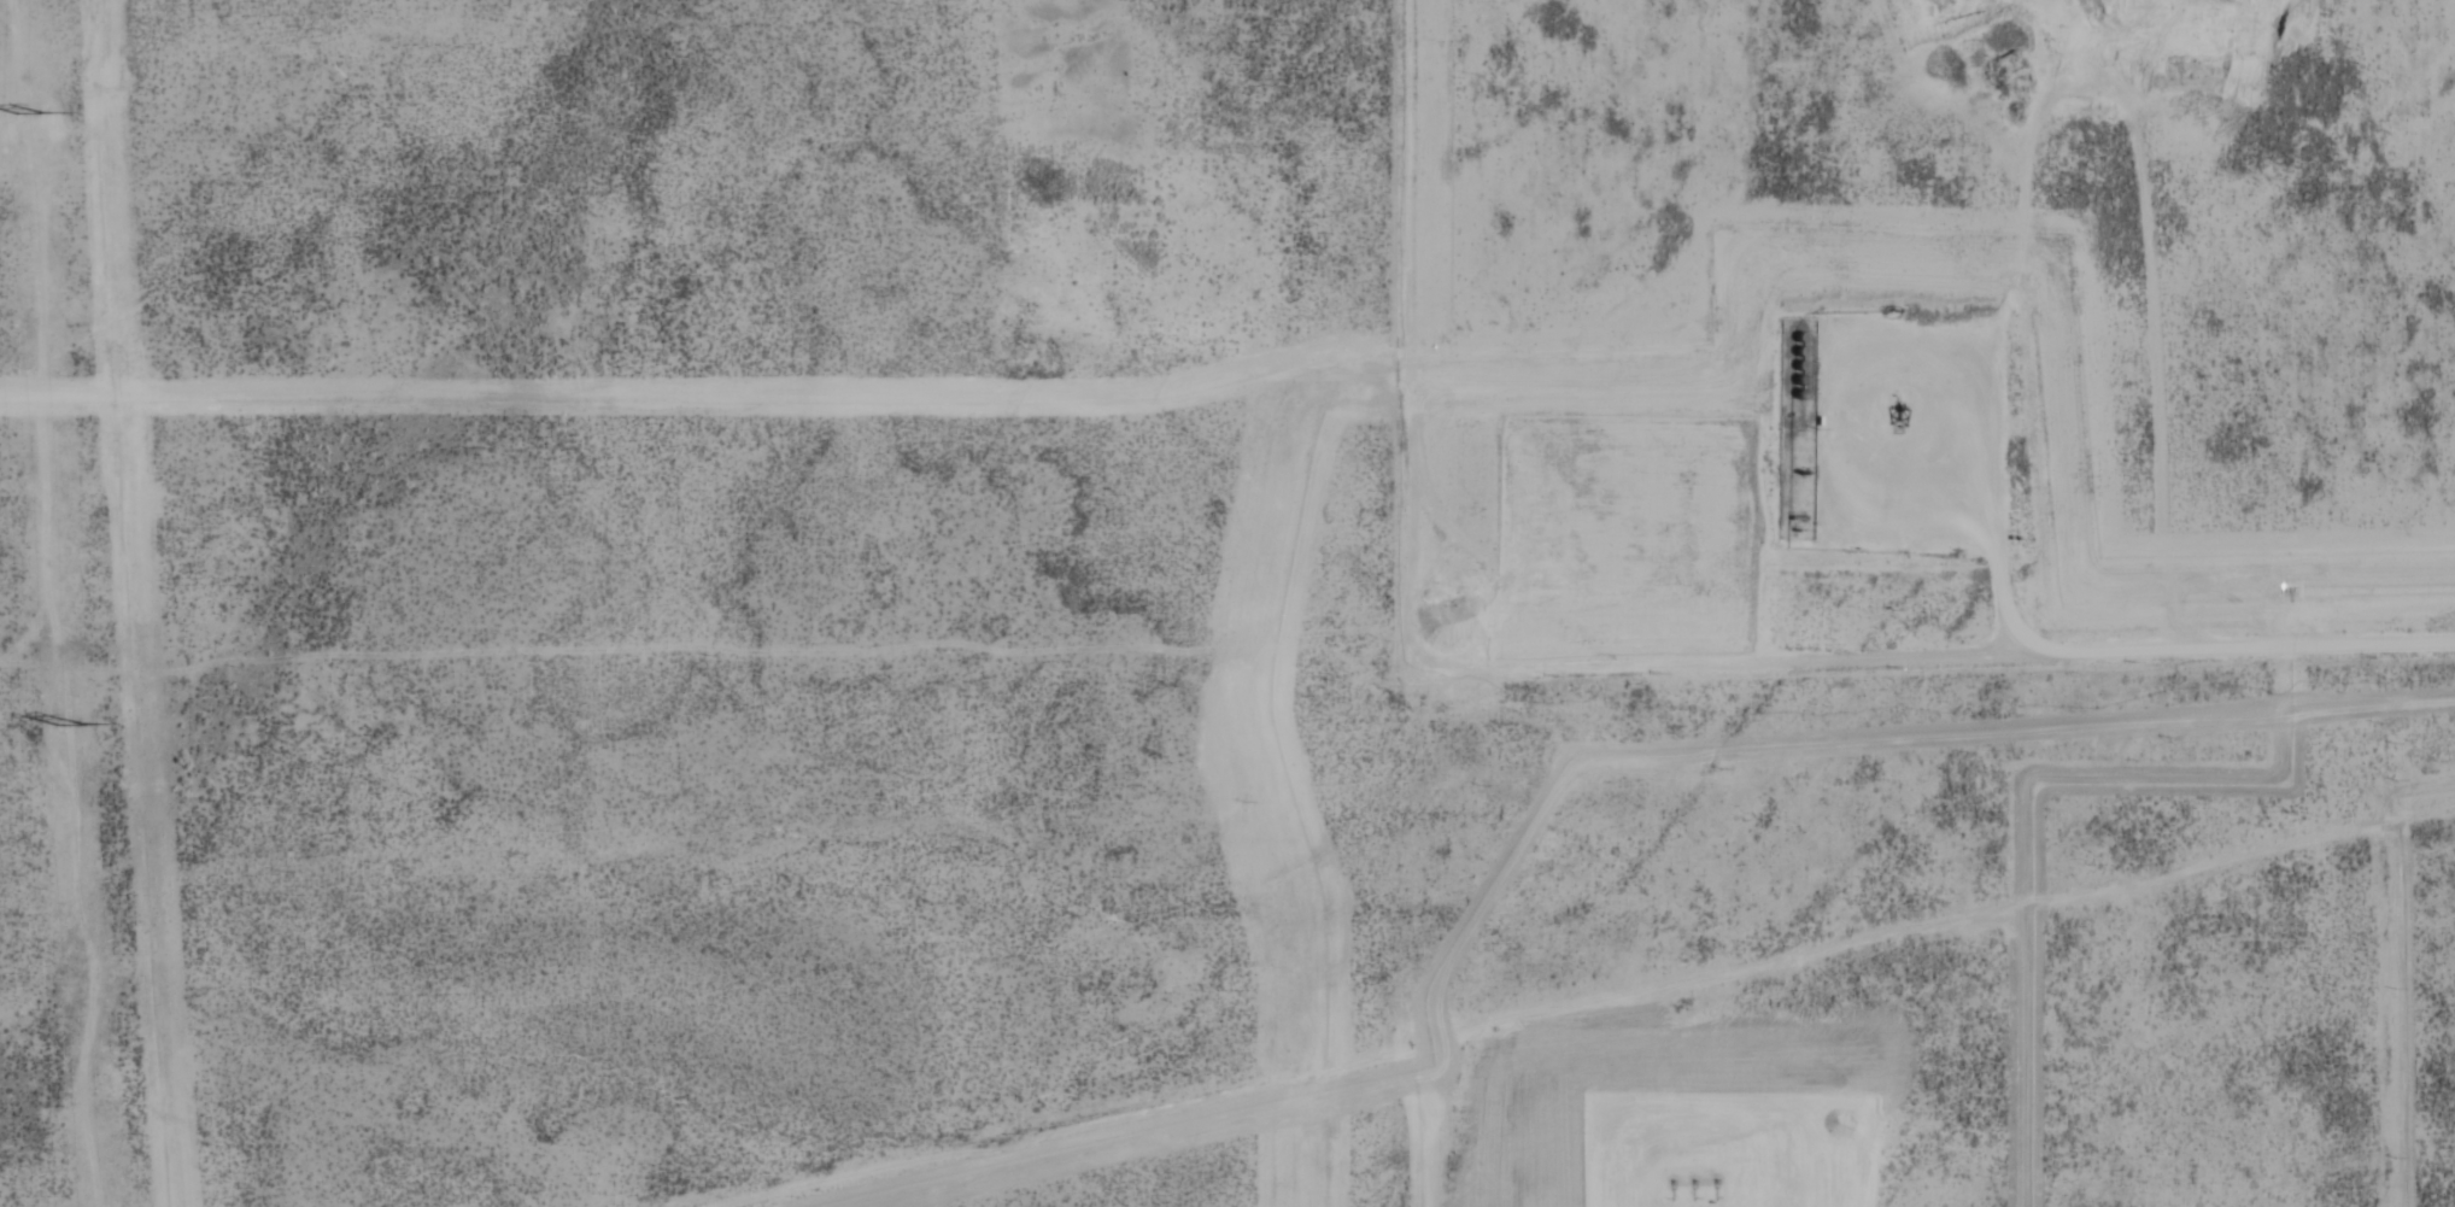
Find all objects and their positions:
power tower: (22, 110)
road: (1408, 240)
road: (1988, 459)
road: (1622, 547)
road: (1786, 650)
power tower: (59, 725)
road: (1676, 1144)

